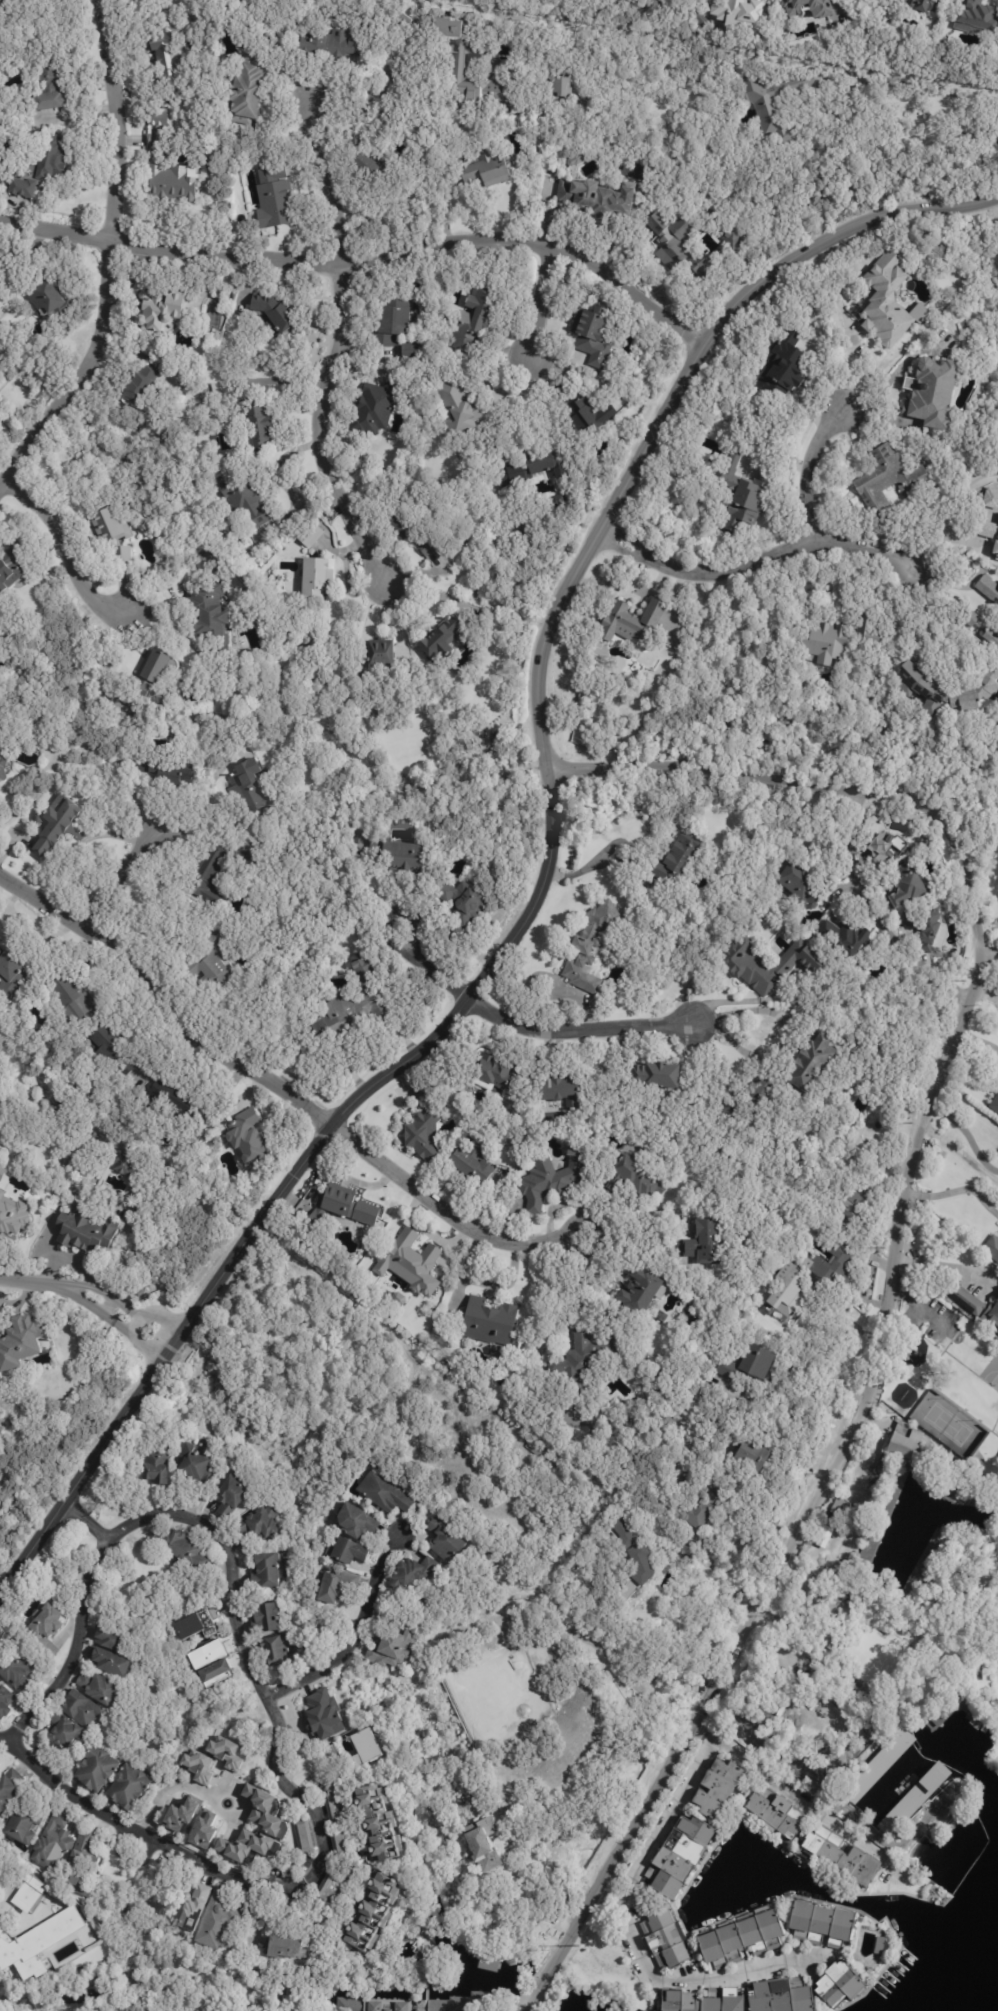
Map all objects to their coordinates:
building: (5, 5)
building: (922, 5)
building: (822, 10)
building: (738, 12)
building: (696, 15)
building: (404, 16)
building: (977, 18)
building: (327, 44)
building: (166, 48)
building: (463, 60)
building: (501, 61)
road: (922, 83)
building: (559, 88)
building: (46, 90)
building: (246, 91)
building: (768, 112)
building: (51, 158)
building: (155, 158)
building: (361, 158)
building: (576, 159)
building: (486, 169)
building: (20, 188)
building: (274, 200)
building: (596, 200)
building: (675, 247)
road: (361, 256)
road: (108, 257)
building: (47, 296)
building: (883, 297)
road: (541, 298)
building: (158, 311)
building: (273, 312)
building: (471, 320)
building: (392, 324)
building: (592, 336)
road: (337, 349)
building: (409, 353)
building: (783, 368)
building: (139, 386)
road: (669, 390)
building: (929, 391)
building: (458, 407)
building: (375, 408)
building: (589, 417)
building: (258, 427)
building: (704, 432)
building: (705, 453)
building: (539, 467)
building: (690, 470)
road: (808, 471)
building: (889, 478)
building: (746, 495)
building: (991, 497)
building: (246, 505)
building: (111, 530)
building: (989, 531)
building: (311, 535)
building: (413, 535)
road: (67, 548)
road: (752, 560)
building: (10, 564)
building: (315, 576)
building: (987, 587)
building: (208, 612)
building: (632, 622)
building: (867, 628)
building: (440, 636)
building: (991, 637)
building: (825, 642)
road: (959, 648)
building: (380, 652)
building: (144, 678)
building: (920, 687)
building: (839, 706)
building: (0, 751)
building: (1, 769)
building: (164, 771)
building: (248, 786)
building: (55, 826)
building: (357, 836)
building: (886, 849)
building: (399, 853)
building: (676, 859)
road: (122, 868)
building: (206, 875)
building: (805, 884)
building: (907, 884)
building: (460, 904)
building: (252, 910)
road: (874, 912)
building: (926, 926)
building: (845, 937)
building: (713, 944)
building: (590, 947)
road: (988, 949)
building: (769, 964)
building: (209, 968)
building: (11, 973)
road: (986, 993)
building: (63, 994)
building: (352, 1006)
road: (525, 1024)
road: (790, 1037)
building: (109, 1049)
building: (811, 1063)
building: (497, 1073)
building: (655, 1076)
building: (862, 1076)
road: (274, 1088)
building: (560, 1090)
building: (172, 1099)
building: (750, 1100)
building: (994, 1105)
building: (424, 1126)
road: (966, 1135)
building: (247, 1138)
building: (471, 1163)
building: (126, 1167)
building: (632, 1178)
building: (551, 1179)
road: (288, 1185)
road: (954, 1192)
building: (1, 1194)
building: (338, 1201)
building: (850, 1206)
building: (13, 1219)
building: (315, 1219)
building: (84, 1230)
building: (818, 1234)
building: (704, 1243)
building: (991, 1247)
road: (894, 1253)
building: (778, 1257)
building: (408, 1263)
building: (831, 1266)
road: (943, 1267)
road: (95, 1288)
building: (640, 1293)
building: (785, 1294)
building: (142, 1296)
building: (398, 1299)
building: (975, 1305)
building: (450, 1316)
building: (661, 1317)
building: (489, 1322)
building: (21, 1343)
road: (833, 1359)
building: (583, 1362)
building: (749, 1365)
building: (901, 1447)
building: (545, 1455)
building: (752, 1458)
building: (155, 1464)
building: (196, 1464)
building: (977, 1466)
building: (232, 1494)
building: (382, 1494)
building: (616, 1507)
building: (837, 1509)
building: (697, 1514)
road: (95, 1515)
building: (356, 1520)
building: (259, 1522)
building: (624, 1534)
building: (823, 1536)
building: (444, 1541)
building: (989, 1545)
building: (178, 1546)
building: (346, 1550)
building: (265, 1570)
building: (412, 1571)
building: (827, 1577)
building: (334, 1584)
building: (834, 1584)
building: (961, 1595)
building: (733, 1596)
building: (423, 1600)
building: (865, 1600)
building: (841, 1607)
building: (996, 1610)
road: (684, 1613)
building: (265, 1617)
building: (832, 1620)
building: (195, 1625)
building: (885, 1630)
building: (43, 1633)
building: (826, 1634)
building: (108, 1637)
road: (360, 1637)
building: (390, 1648)
building: (276, 1649)
building: (108, 1661)
building: (17, 1669)
building: (979, 1670)
building: (215, 1672)
building: (96, 1687)
road: (632, 1687)
building: (522, 1689)
building: (875, 1698)
building: (5, 1701)
road: (267, 1704)
building: (80, 1709)
building: (323, 1715)
building: (578, 1717)
building: (747, 1726)
building: (63, 1731)
road: (5, 1739)
building: (365, 1748)
building: (226, 1752)
building: (329, 1753)
building: (540, 1755)
building: (884, 1764)
building: (198, 1766)
building: (95, 1769)
building: (804, 1769)
building: (553, 1773)
building: (820, 1784)
building: (717, 1787)
building: (9, 1788)
building: (128, 1788)
road: (168, 1788)
road: (799, 1800)
building: (331, 1804)
building: (911, 1804)
road: (240, 1810)
building: (266, 1812)
building: (776, 1815)
building: (61, 1816)
building: (850, 1819)
building: (24, 1823)
road: (664, 1823)
building: (377, 1825)
building: (303, 1836)
building: (338, 1842)
building: (248, 1847)
building: (50, 1849)
building: (679, 1856)
building: (838, 1857)
building: (81, 1862)
building: (353, 1863)
building: (333, 1888)
building: (31, 1893)
building: (192, 1909)
building: (368, 1914)
building: (217, 1923)
building: (817, 1923)
building: (666, 1939)
building: (741, 1939)
building: (36, 1941)
building: (283, 1948)
road: (679, 1982)
building: (840, 1985)
building: (783, 1997)
building: (703, 2001)
building: (462, 2003)
building: (348, 2004)
building: (374, 2006)
building: (401, 2007)
building: (387, 2010)

